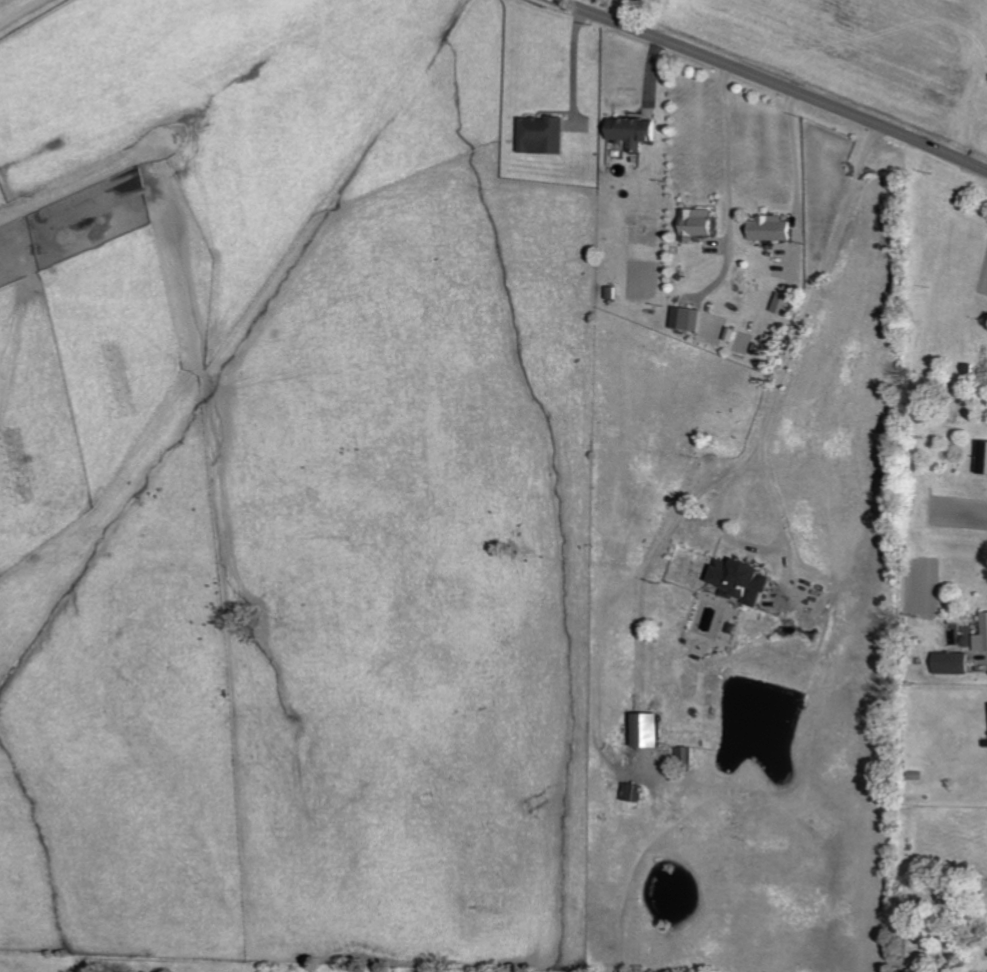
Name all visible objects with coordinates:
road: (21, 12)
road: (773, 83)
building: (635, 131)
building: (544, 135)
building: (699, 224)
building: (773, 228)
building: (687, 319)
road: (782, 354)
building: (984, 459)
building: (746, 581)
building: (982, 639)
building: (955, 663)
building: (651, 731)
building: (635, 793)

